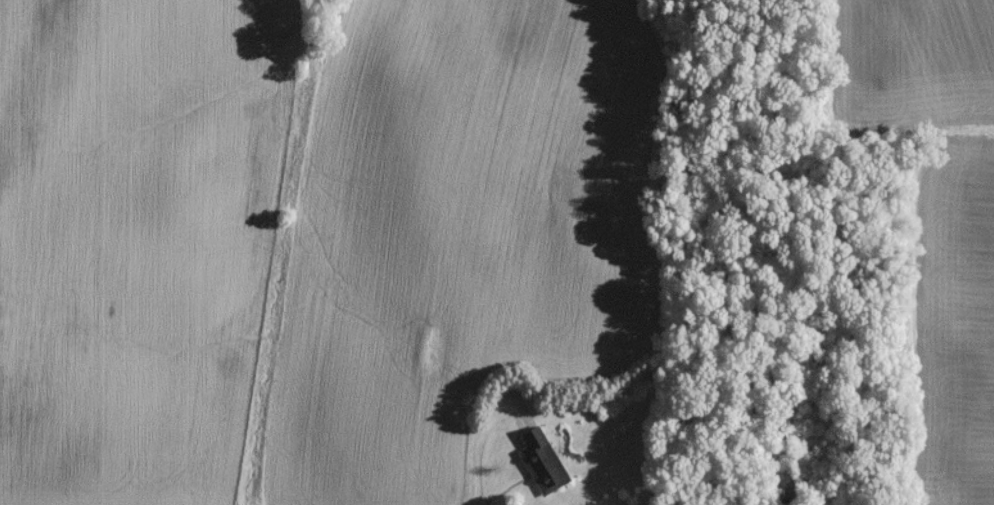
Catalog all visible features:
road: (488, 434)
building: (541, 467)

